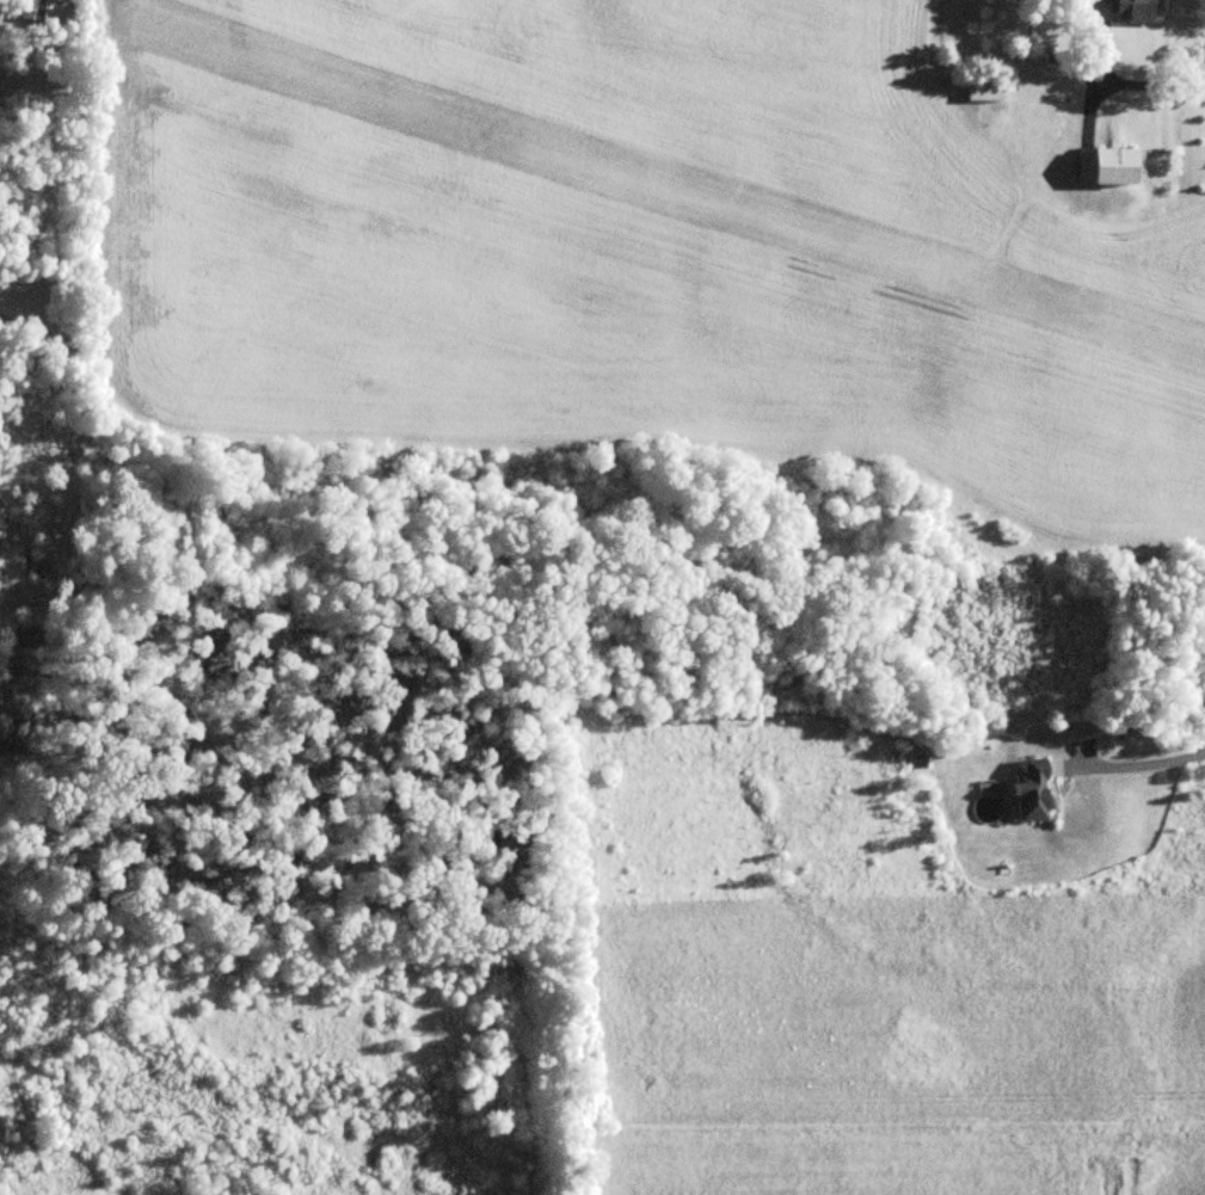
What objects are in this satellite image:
building: (49, 0)
building: (1123, 11)
road: (1162, 91)
building: (1102, 170)
crop: (638, 251)
road: (1144, 763)
building: (1027, 793)

